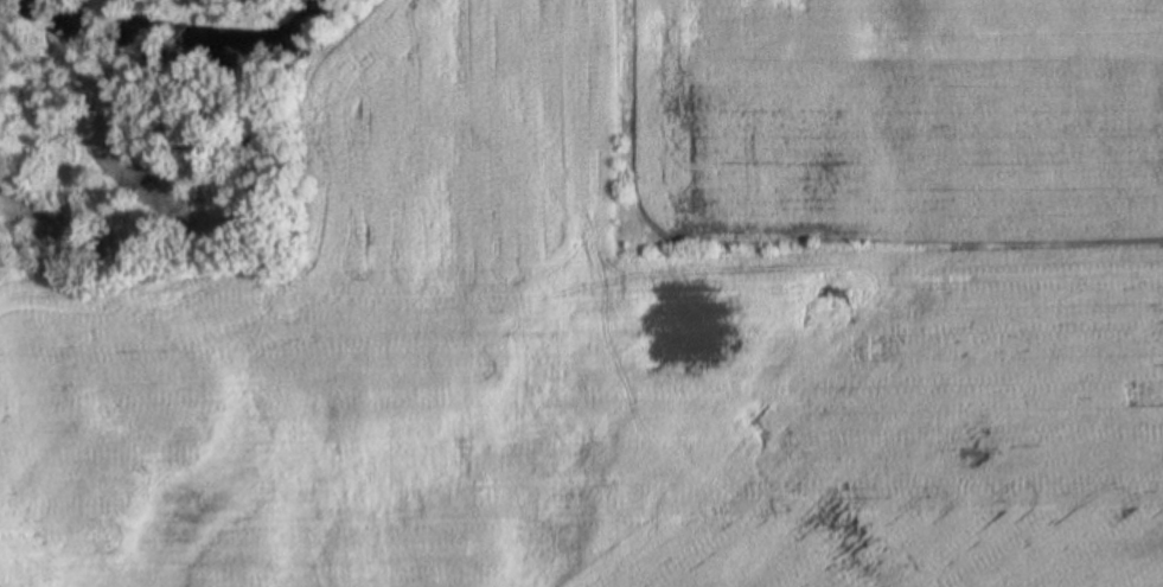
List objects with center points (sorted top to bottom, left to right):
river: (140, 11)

